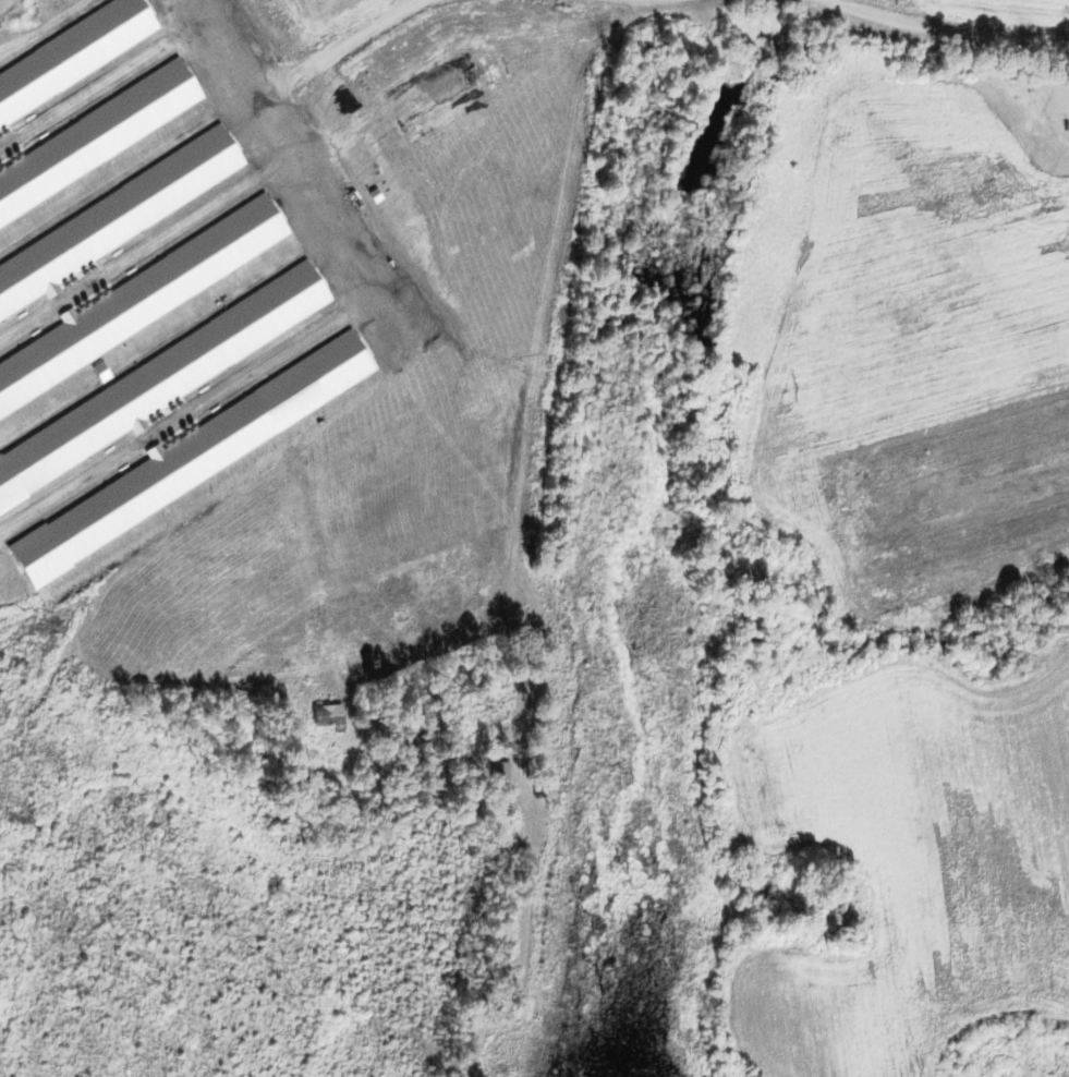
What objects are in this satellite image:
road: (931, 29)
building: (25, 125)
road: (295, 136)
building: (318, 165)
building: (270, 302)
building: (86, 349)
building: (117, 462)
building: (995, 533)
road: (1044, 668)
building: (327, 715)

